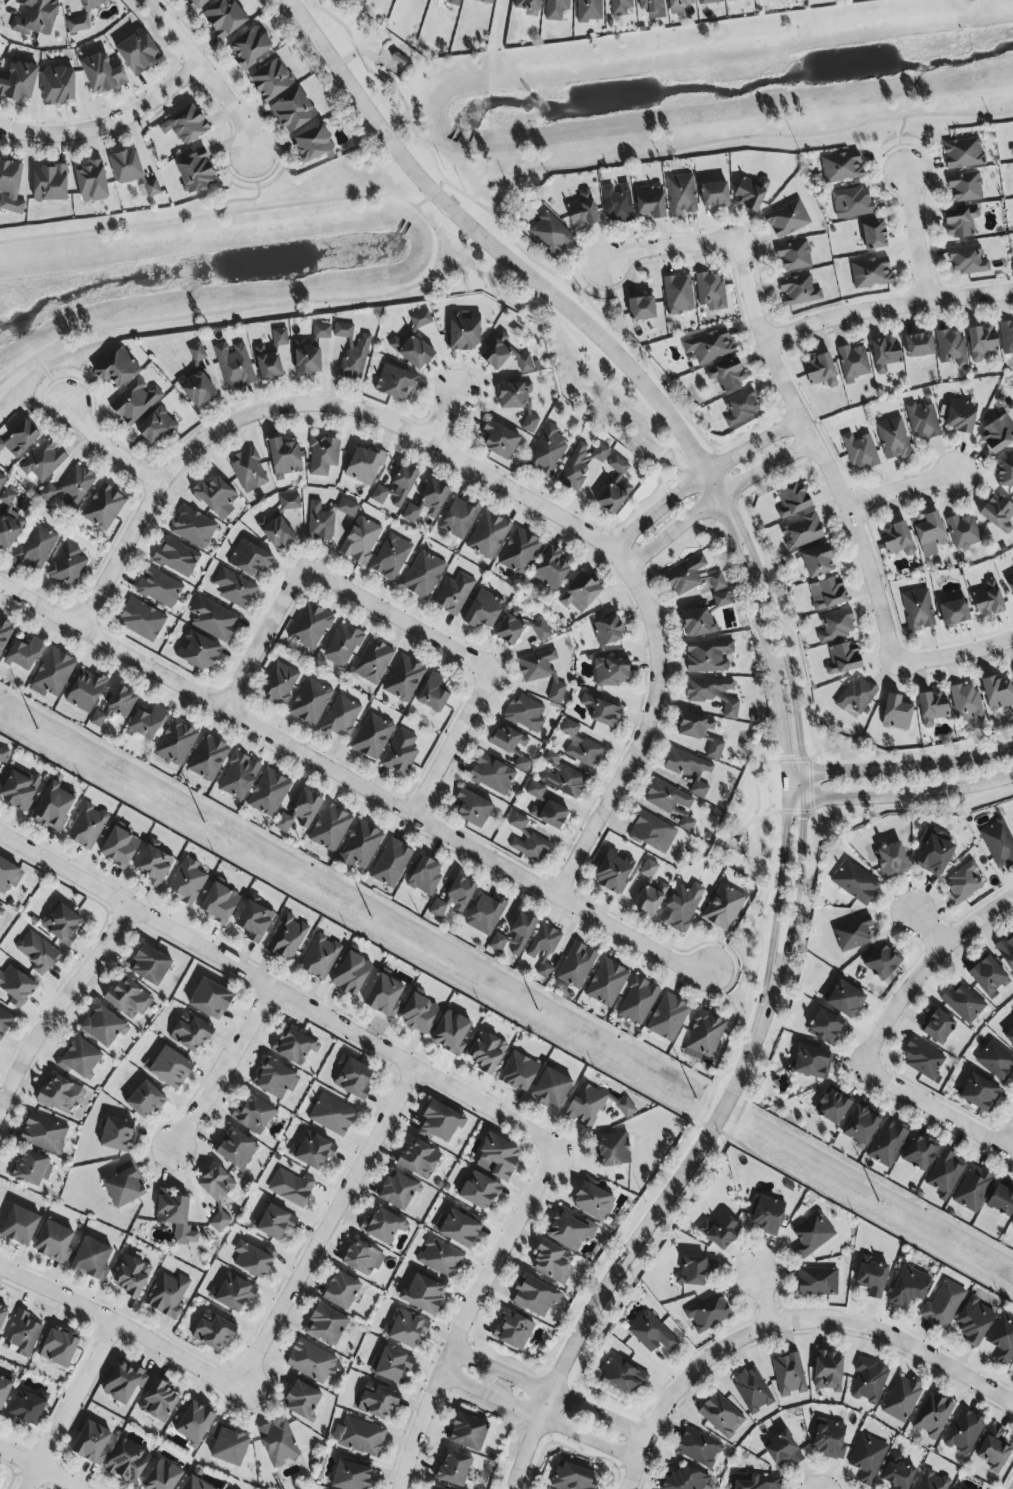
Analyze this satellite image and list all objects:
building: (731, 0)
building: (452, 1)
building: (485, 1)
building: (708, 2)
building: (196, 3)
building: (678, 5)
building: (528, 7)
building: (619, 8)
building: (652, 8)
building: (556, 9)
building: (589, 10)
building: (83, 16)
building: (35, 17)
building: (223, 18)
building: (249, 47)
building: (137, 52)
road: (367, 54)
road: (208, 72)
building: (101, 74)
building: (270, 80)
building: (18, 83)
building: (58, 86)
building: (292, 111)
road: (108, 123)
building: (185, 125)
road: (736, 139)
road: (897, 143)
building: (312, 144)
building: (963, 153)
building: (125, 166)
building: (841, 167)
building: (195, 173)
building: (91, 182)
building: (49, 183)
building: (11, 184)
building: (965, 187)
building: (151, 188)
road: (429, 194)
building: (681, 194)
building: (714, 194)
building: (748, 195)
road: (255, 198)
building: (650, 202)
building: (852, 203)
building: (617, 206)
building: (583, 211)
road: (208, 215)
building: (787, 219)
building: (959, 222)
building: (550, 233)
road: (913, 233)
building: (873, 235)
road: (508, 238)
road: (667, 248)
building: (793, 256)
building: (966, 260)
road: (510, 262)
building: (870, 273)
road: (590, 278)
building: (798, 290)
building: (710, 291)
building: (678, 294)
road: (887, 306)
building: (641, 308)
road: (248, 309)
building: (420, 319)
building: (464, 330)
building: (321, 331)
building: (1006, 337)
building: (980, 342)
building: (918, 345)
building: (709, 346)
building: (951, 347)
building: (352, 351)
building: (412, 351)
building: (497, 351)
building: (196, 352)
building: (884, 354)
building: (307, 357)
building: (524, 363)
road: (573, 363)
building: (852, 363)
building: (234, 365)
building: (116, 368)
building: (820, 370)
building: (727, 375)
road: (49, 379)
building: (395, 382)
building: (196, 388)
building: (513, 395)
building: (134, 401)
building: (740, 407)
building: (959, 416)
road: (443, 418)
building: (922, 421)
building: (529, 423)
building: (156, 427)
building: (997, 434)
road: (211, 436)
building: (892, 438)
building: (20, 439)
building: (498, 440)
road: (106, 450)
building: (547, 450)
road: (816, 452)
building: (860, 452)
building: (322, 455)
building: (284, 458)
building: (43, 462)
building: (581, 464)
building: (364, 465)
building: (248, 470)
building: (1004, 473)
road: (699, 479)
building: (1, 480)
building: (69, 486)
building: (614, 487)
building: (396, 488)
road: (902, 492)
road: (521, 493)
building: (215, 497)
building: (792, 500)
road: (715, 501)
building: (427, 503)
building: (103, 507)
building: (347, 507)
building: (997, 513)
building: (458, 518)
building: (8, 519)
building: (320, 522)
building: (279, 524)
building: (192, 527)
building: (962, 531)
building: (801, 532)
building: (929, 534)
building: (488, 535)
building: (897, 539)
building: (360, 540)
building: (36, 547)
building: (518, 552)
building: (175, 557)
building: (391, 557)
building: (248, 558)
building: (817, 561)
building: (67, 566)
building: (550, 569)
building: (423, 575)
building: (686, 577)
building: (716, 581)
building: (1009, 582)
building: (158, 588)
building: (234, 588)
building: (580, 593)
building: (827, 593)
building: (454, 594)
building: (721, 599)
building: (988, 599)
building: (483, 610)
building: (917, 610)
building: (953, 612)
building: (213, 618)
road: (396, 618)
building: (141, 620)
building: (697, 622)
building: (835, 625)
building: (309, 626)
building: (519, 627)
building: (607, 631)
building: (5, 633)
road: (261, 636)
building: (342, 645)
building: (198, 651)
building: (24, 653)
road: (954, 655)
building: (707, 656)
building: (843, 659)
building: (373, 662)
building: (1012, 671)
building: (541, 672)
building: (610, 672)
building: (52, 674)
building: (403, 679)
building: (279, 684)
building: (706, 689)
building: (85, 690)
building: (432, 693)
building: (996, 693)
road: (804, 695)
building: (856, 695)
building: (966, 701)
building: (310, 702)
building: (115, 706)
building: (931, 707)
building: (730, 709)
building: (601, 710)
building: (525, 712)
building: (895, 713)
building: (340, 717)
building: (146, 723)
building: (694, 726)
road: (644, 728)
building: (372, 736)
building: (506, 739)
building: (176, 741)
road: (452, 743)
building: (579, 746)
building: (714, 749)
building: (400, 753)
building: (3, 755)
road: (800, 755)
road: (786, 756)
building: (207, 758)
building: (551, 758)
building: (521, 763)
power tower: (98, 765)
road: (901, 768)
building: (688, 769)
building: (491, 774)
building: (239, 776)
building: (564, 781)
road: (353, 782)
building: (18, 789)
building: (268, 793)
road: (901, 795)
building: (666, 797)
building: (53, 806)
building: (472, 808)
building: (545, 808)
building: (300, 812)
road: (808, 812)
building: (686, 824)
building: (87, 826)
building: (330, 828)
building: (651, 832)
building: (527, 840)
building: (998, 843)
building: (359, 846)
building: (119, 847)
building: (933, 854)
building: (891, 860)
building: (390, 863)
building: (153, 866)
building: (648, 869)
building: (612, 873)
building: (9, 875)
building: (425, 875)
building: (187, 882)
building: (963, 882)
building: (855, 883)
building: (650, 898)
building: (453, 899)
building: (218, 904)
building: (681, 907)
building: (723, 907)
building: (0, 908)
building: (485, 914)
road: (977, 918)
building: (254, 921)
building: (62, 924)
power tower: (392, 929)
road: (928, 930)
building: (852, 933)
building: (287, 938)
building: (497, 943)
building: (543, 949)
building: (37, 952)
building: (1006, 952)
building: (320, 957)
building: (881, 962)
building: (149, 964)
building: (576, 965)
building: (351, 973)
building: (987, 976)
building: (606, 983)
building: (16, 986)
road: (279, 991)
building: (384, 995)
building: (128, 999)
building: (210, 999)
building: (843, 999)
building: (637, 1001)
building: (963, 1001)
road: (57, 1007)
road: (903, 1009)
building: (418, 1013)
building: (668, 1017)
road: (506, 1018)
building: (4, 1022)
building: (102, 1026)
building: (936, 1026)
building: (825, 1027)
building: (191, 1033)
building: (451, 1033)
building: (705, 1033)
building: (1009, 1037)
building: (294, 1046)
building: (486, 1052)
building: (80, 1058)
building: (922, 1060)
building: (996, 1061)
building: (810, 1062)
building: (169, 1068)
road: (229, 1070)
building: (518, 1072)
building: (354, 1078)
building: (274, 1079)
building: (551, 1088)
building: (978, 1093)
power tower: (684, 1094)
building: (61, 1095)
building: (144, 1099)
building: (585, 1105)
building: (832, 1106)
building: (625, 1107)
road: (936, 1112)
building: (254, 1115)
building: (331, 1115)
road: (697, 1120)
building: (440, 1122)
building: (860, 1124)
building: (44, 1133)
building: (117, 1134)
building: (887, 1143)
building: (236, 1149)
road: (1011, 1149)
building: (613, 1150)
building: (312, 1151)
building: (919, 1152)
building: (499, 1157)
building: (419, 1159)
building: (31, 1169)
building: (944, 1173)
building: (216, 1183)
building: (291, 1184)
building: (124, 1185)
building: (972, 1189)
building: (397, 1191)
building: (480, 1191)
building: (1001, 1201)
building: (593, 1202)
building: (768, 1215)
building: (176, 1216)
building: (219, 1221)
building: (273, 1223)
building: (19, 1225)
road: (327, 1225)
building: (383, 1226)
building: (457, 1228)
building: (1012, 1228)
building: (570, 1229)
building: (719, 1230)
building: (811, 1234)
road: (637, 1240)
building: (54, 1242)
building: (362, 1258)
building: (439, 1258)
building: (91, 1259)
building: (253, 1259)
power tower: (979, 1260)
building: (552, 1262)
building: (694, 1270)
building: (131, 1276)
building: (817, 1281)
building: (908, 1287)
building: (341, 1290)
building: (234, 1293)
building: (167, 1295)
building: (423, 1295)
building: (534, 1296)
road: (763, 1299)
building: (943, 1306)
building: (707, 1313)
building: (2, 1315)
road: (465, 1317)
building: (973, 1321)
building: (325, 1325)
road: (118, 1327)
building: (407, 1329)
building: (213, 1331)
building: (513, 1331)
building: (651, 1334)
building: (21, 1335)
building: (1002, 1339)
road: (899, 1340)
building: (59, 1347)
building: (311, 1361)
building: (391, 1365)
building: (1012, 1367)
building: (827, 1371)
building: (622, 1375)
building: (788, 1375)
building: (869, 1381)
building: (123, 1383)
road: (678, 1388)
building: (752, 1390)
building: (4, 1391)
road: (548, 1392)
building: (901, 1399)
building: (301, 1400)
building: (158, 1401)
building: (376, 1401)
road: (70, 1407)
building: (26, 1409)
road: (538, 1415)
building: (721, 1415)
building: (932, 1416)
building: (192, 1422)
building: (468, 1431)
building: (963, 1432)
building: (359, 1436)
building: (829, 1439)
building: (278, 1442)
building: (91, 1443)
building: (228, 1446)
building: (699, 1447)
building: (782, 1450)
building: (993, 1450)
building: (867, 1458)
road: (18, 1459)
building: (127, 1462)
building: (453, 1469)
building: (897, 1473)
building: (350, 1475)
building: (163, 1476)
building: (573, 1477)
road: (57, 1478)
building: (684, 1480)
building: (932, 1481)
building: (755, 1482)
building: (195, 1484)
building: (435, 1488)
building: (959, 1488)

